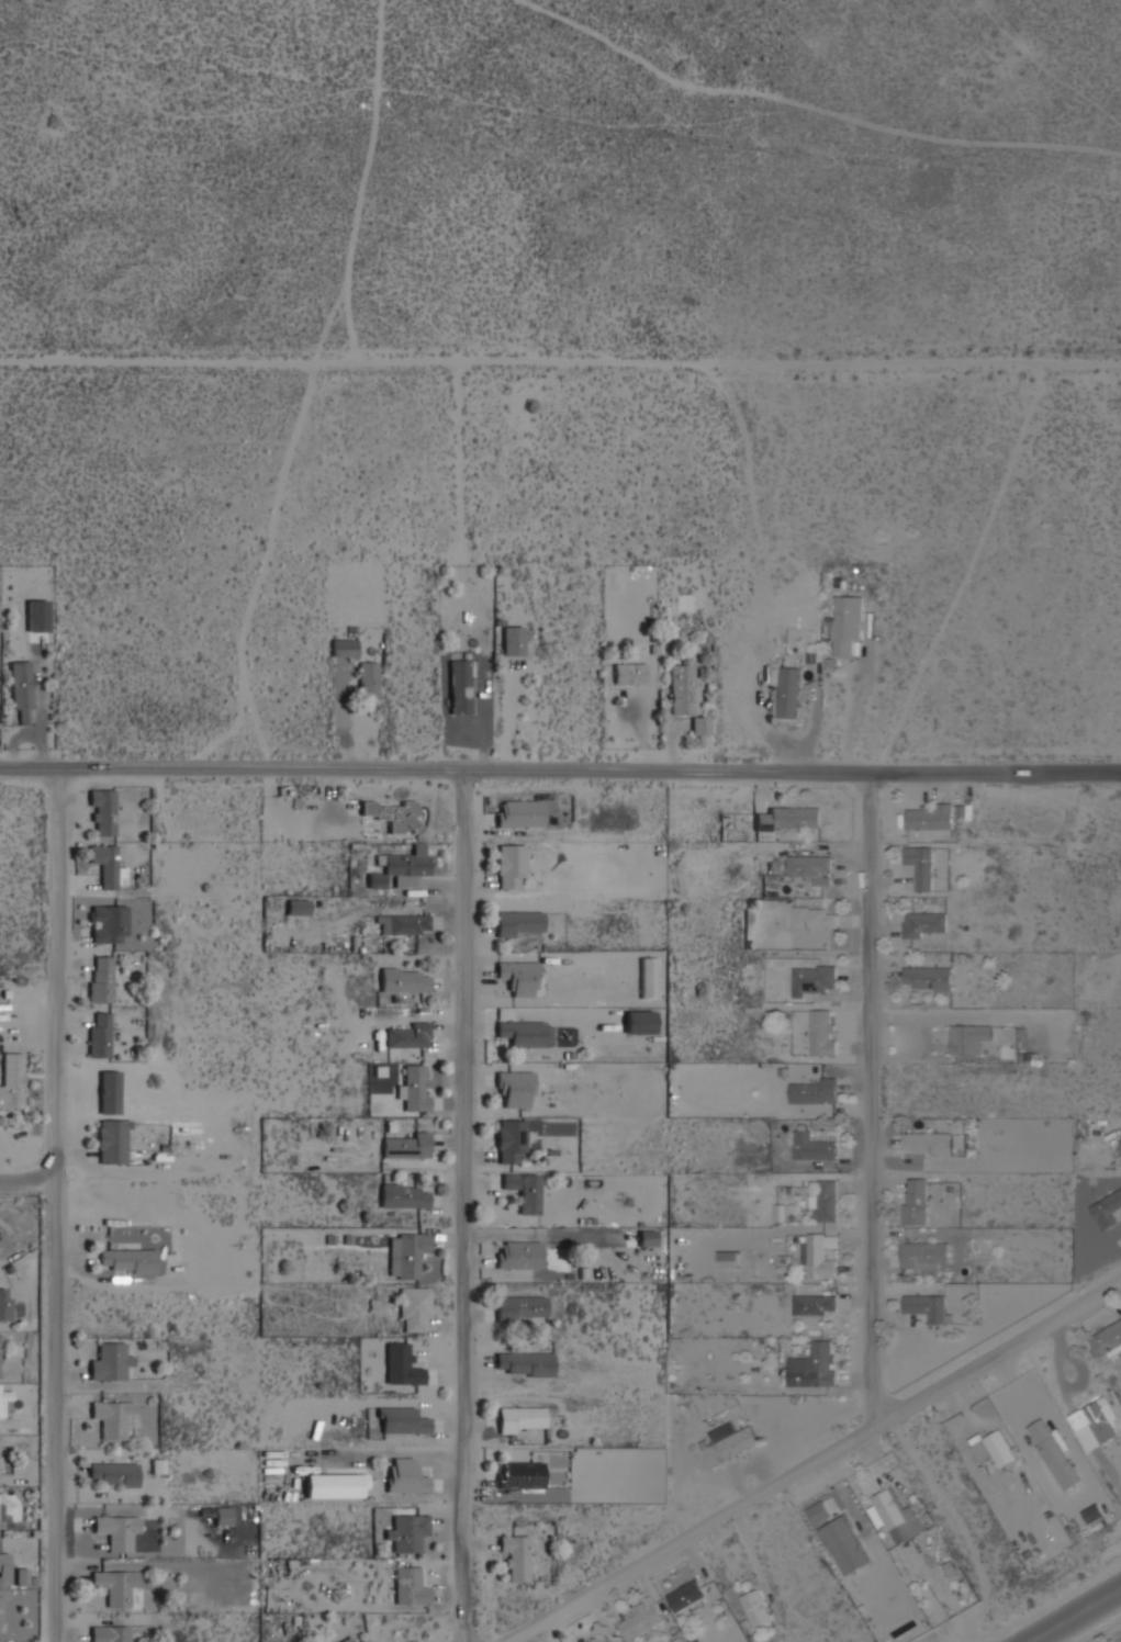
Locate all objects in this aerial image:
road: (560, 361)
building: (847, 622)
building: (513, 641)
building: (343, 648)
building: (628, 672)
building: (367, 679)
building: (460, 684)
building: (21, 690)
building: (788, 691)
building: (686, 697)
road: (560, 772)
building: (101, 813)
building: (519, 813)
building: (395, 816)
building: (929, 816)
building: (787, 818)
building: (509, 864)
building: (107, 866)
building: (919, 866)
building: (810, 868)
building: (401, 869)
building: (298, 907)
building: (815, 918)
building: (108, 923)
building: (403, 924)
building: (519, 924)
building: (924, 924)
building: (520, 977)
building: (647, 978)
building: (927, 978)
building: (101, 979)
building: (812, 979)
building: (404, 980)
building: (639, 1022)
building: (522, 1033)
building: (823, 1033)
building: (99, 1034)
building: (407, 1035)
building: (968, 1039)
building: (12, 1081)
building: (414, 1088)
building: (515, 1088)
building: (812, 1091)
road: (871, 1101)
building: (514, 1138)
building: (112, 1141)
building: (928, 1144)
building: (405, 1145)
building: (814, 1146)
road: (26, 1184)
building: (523, 1191)
building: (404, 1195)
building: (825, 1201)
building: (915, 1201)
road: (53, 1205)
road: (467, 1206)
building: (1107, 1210)
building: (406, 1253)
building: (518, 1255)
building: (818, 1255)
building: (923, 1255)
building: (729, 1259)
building: (126, 1260)
building: (814, 1304)
building: (926, 1307)
building: (520, 1308)
building: (413, 1309)
building: (1106, 1340)
building: (109, 1362)
building: (401, 1364)
building: (523, 1364)
building: (814, 1365)
building: (5, 1408)
building: (112, 1418)
building: (520, 1419)
building: (400, 1420)
building: (1094, 1424)
building: (730, 1446)
building: (995, 1447)
building: (1053, 1454)
road: (814, 1461)
building: (113, 1474)
building: (404, 1476)
building: (520, 1476)
building: (333, 1485)
building: (818, 1511)
building: (893, 1514)
building: (116, 1531)
building: (407, 1531)
building: (844, 1544)
building: (515, 1556)
building: (3, 1564)
building: (20, 1576)
building: (114, 1585)
building: (410, 1587)
building: (685, 1596)
building: (756, 1608)
road: (1078, 1616)
building: (640, 1620)
building: (109, 1633)
building: (599, 1639)
building: (348, 1640)
building: (362, 1641)

